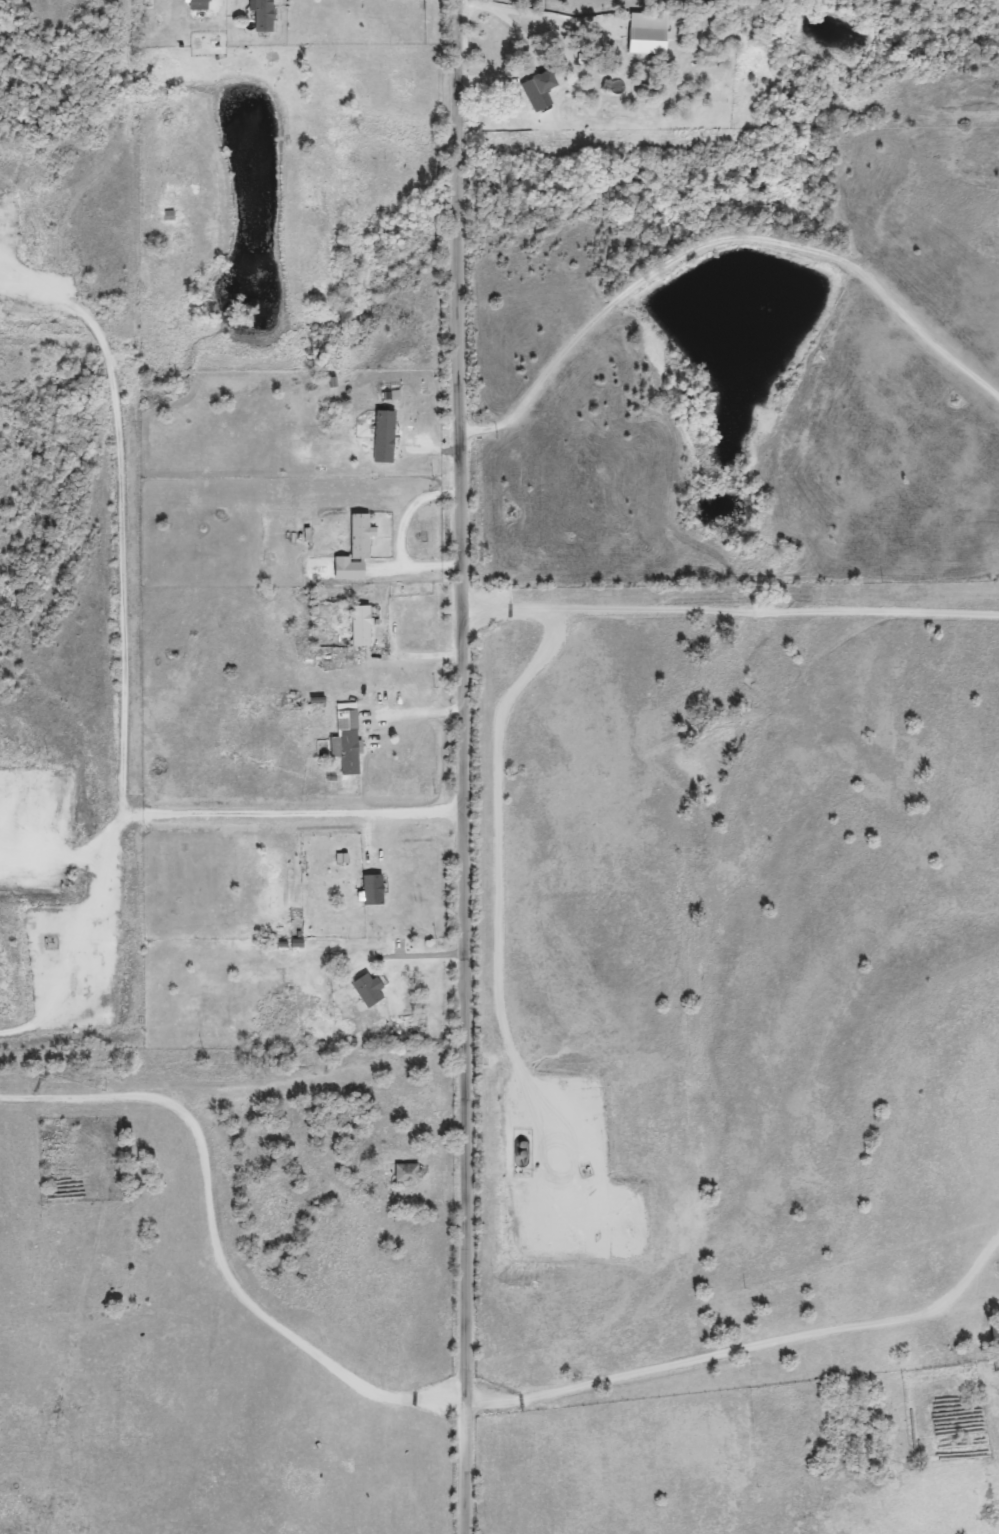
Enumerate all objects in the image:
building: (232, 0)
building: (261, 19)
building: (538, 82)
road: (722, 238)
building: (381, 437)
road: (397, 536)
building: (352, 550)
road: (733, 616)
building: (357, 627)
road: (123, 677)
road: (415, 712)
building: (344, 743)
road: (467, 767)
building: (370, 891)
road: (419, 957)
building: (364, 990)
building: (405, 1172)
road: (211, 1240)
building: (993, 1338)
road: (743, 1352)
road: (730, 1519)

